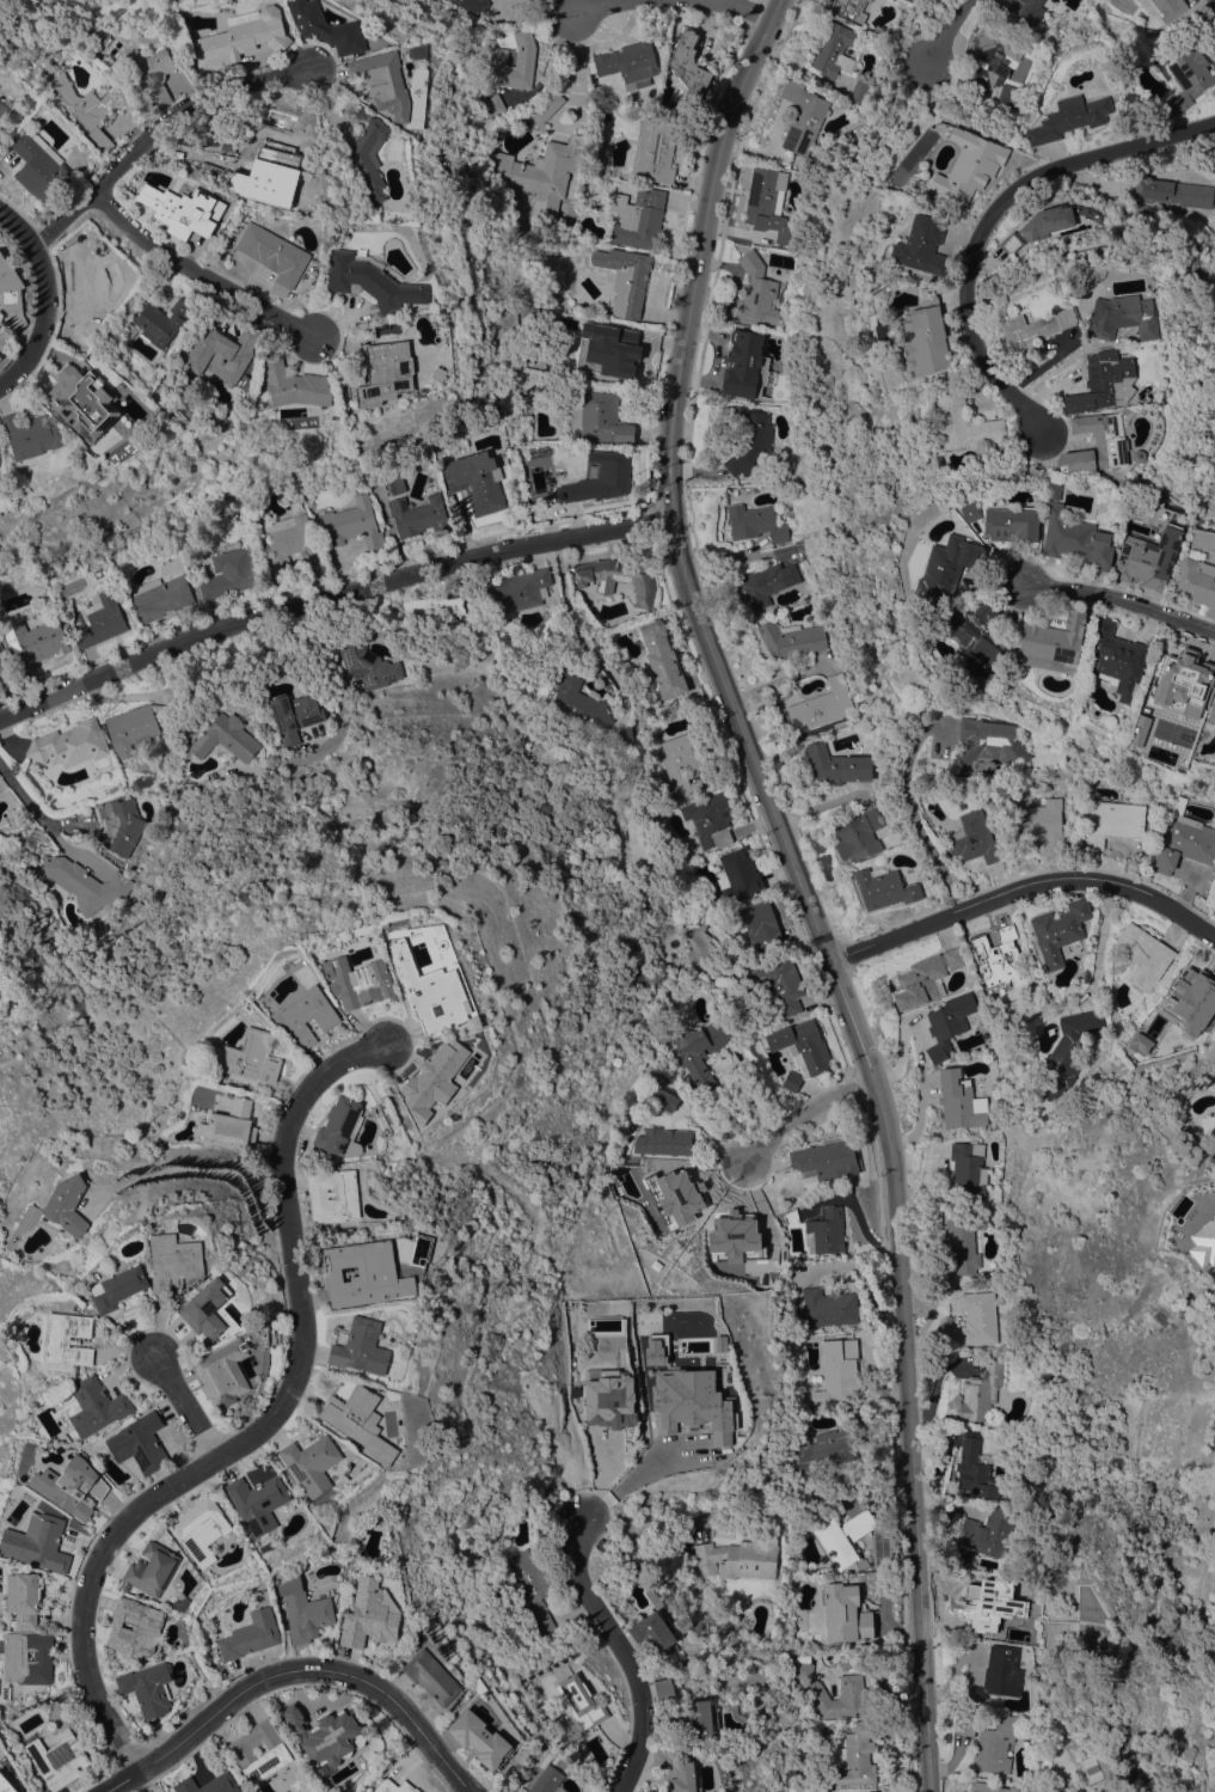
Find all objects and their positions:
building: (909, 0)
building: (1134, 0)
building: (473, 6)
road: (584, 8)
building: (1168, 8)
road: (738, 10)
building: (848, 10)
building: (1025, 10)
building: (325, 27)
road: (950, 31)
building: (1149, 31)
building: (96, 35)
building: (241, 36)
building: (670, 36)
building: (441, 43)
building: (663, 44)
building: (833, 50)
building: (996, 53)
building: (524, 56)
building: (627, 61)
building: (688, 66)
building: (149, 75)
building: (1184, 81)
building: (383, 82)
building: (859, 91)
building: (1008, 97)
road: (577, 98)
building: (80, 103)
building: (491, 106)
building: (546, 108)
building: (2, 109)
building: (802, 118)
building: (1068, 118)
road: (158, 128)
building: (202, 133)
building: (655, 149)
building: (367, 151)
building: (968, 165)
building: (38, 169)
building: (266, 176)
building: (539, 177)
building: (1173, 192)
building: (768, 203)
building: (182, 209)
building: (637, 218)
road: (989, 219)
building: (1047, 222)
building: (1010, 243)
building: (921, 245)
building: (272, 256)
building: (312, 271)
road: (195, 275)
building: (625, 277)
building: (369, 282)
building: (85, 285)
building: (755, 292)
building: (11, 293)
road: (47, 299)
building: (576, 306)
building: (1122, 317)
building: (161, 322)
building: (1032, 331)
building: (127, 332)
building: (925, 337)
building: (220, 353)
building: (625, 353)
building: (745, 366)
road: (1056, 366)
building: (385, 373)
building: (437, 373)
building: (1103, 383)
building: (296, 386)
building: (85, 402)
building: (602, 418)
building: (962, 421)
building: (30, 435)
building: (747, 438)
building: (461, 442)
building: (1110, 444)
building: (552, 463)
building: (599, 479)
building: (475, 481)
building: (395, 484)
building: (1051, 490)
building: (1147, 501)
building: (969, 512)
building: (417, 515)
building: (352, 522)
building: (755, 522)
building: (1011, 524)
building: (287, 537)
building: (1075, 539)
building: (1147, 557)
building: (945, 568)
building: (1177, 570)
building: (231, 571)
building: (615, 577)
building: (1196, 582)
building: (766, 583)
building: (515, 591)
road: (329, 597)
building: (160, 598)
road: (1122, 601)
building: (432, 607)
building: (100, 622)
building: (976, 632)
building: (790, 638)
building: (35, 642)
building: (1051, 643)
building: (1113, 659)
building: (661, 660)
building: (369, 666)
building: (4, 672)
building: (1176, 684)
building: (579, 703)
building: (821, 705)
building: (1211, 712)
building: (293, 716)
building: (135, 727)
building: (1137, 729)
building: (225, 738)
building: (622, 740)
building: (988, 741)
building: (69, 744)
building: (681, 759)
building: (836, 765)
road: (43, 819)
road: (914, 819)
building: (708, 820)
building: (1113, 821)
building: (118, 825)
building: (1041, 825)
building: (858, 834)
building: (974, 838)
building: (1184, 840)
building: (738, 875)
building: (85, 883)
road: (796, 885)
building: (883, 888)
road: (1021, 888)
building: (760, 925)
building: (1058, 930)
road: (1097, 938)
building: (1142, 955)
building: (998, 959)
building: (925, 978)
building: (358, 981)
building: (778, 983)
building: (427, 991)
building: (1190, 997)
building: (305, 1015)
building: (947, 1023)
building: (1139, 1042)
building: (800, 1044)
building: (700, 1052)
building: (1067, 1052)
building: (252, 1058)
building: (432, 1076)
building: (791, 1081)
building: (665, 1101)
building: (958, 1101)
building: (1036, 1106)
road: (803, 1112)
building: (229, 1124)
building: (1207, 1124)
building: (993, 1125)
building: (339, 1127)
building: (627, 1142)
building: (663, 1142)
building: (639, 1158)
building: (824, 1160)
road: (203, 1170)
building: (967, 1170)
building: (332, 1195)
building: (65, 1206)
building: (824, 1233)
building: (967, 1241)
building: (1203, 1243)
building: (173, 1261)
building: (364, 1273)
building: (117, 1288)
building: (1214, 1290)
building: (828, 1307)
building: (205, 1308)
building: (972, 1321)
building: (67, 1339)
building: (360, 1347)
building: (222, 1372)
building: (840, 1374)
building: (980, 1390)
building: (608, 1400)
road: (185, 1403)
building: (94, 1406)
building: (358, 1421)
building: (992, 1425)
road: (262, 1426)
building: (140, 1444)
building: (823, 1450)
building: (311, 1463)
building: (972, 1470)
road: (639, 1474)
building: (70, 1486)
building: (256, 1503)
building: (200, 1529)
building: (984, 1535)
building: (842, 1536)
building: (39, 1542)
building: (737, 1559)
building: (151, 1568)
building: (530, 1588)
building: (23, 1597)
building: (180, 1603)
building: (303, 1610)
building: (845, 1613)
building: (369, 1614)
building: (135, 1627)
building: (653, 1631)
building: (250, 1635)
road: (622, 1651)
building: (14, 1656)
road: (294, 1670)
building: (996, 1675)
building: (430, 1676)
building: (480, 1682)
building: (147, 1688)
building: (663, 1688)
building: (852, 1690)
building: (581, 1701)
building: (701, 1717)
building: (965, 1725)
building: (327, 1736)
building: (478, 1737)
building: (994, 1745)
building: (241, 1751)
building: (56, 1759)
building: (857, 1759)
building: (607, 1772)
building: (677, 1772)
building: (546, 1780)
building: (208, 1784)
building: (5, 1785)
building: (393, 1786)
building: (987, 1787)
building: (872, 1791)

